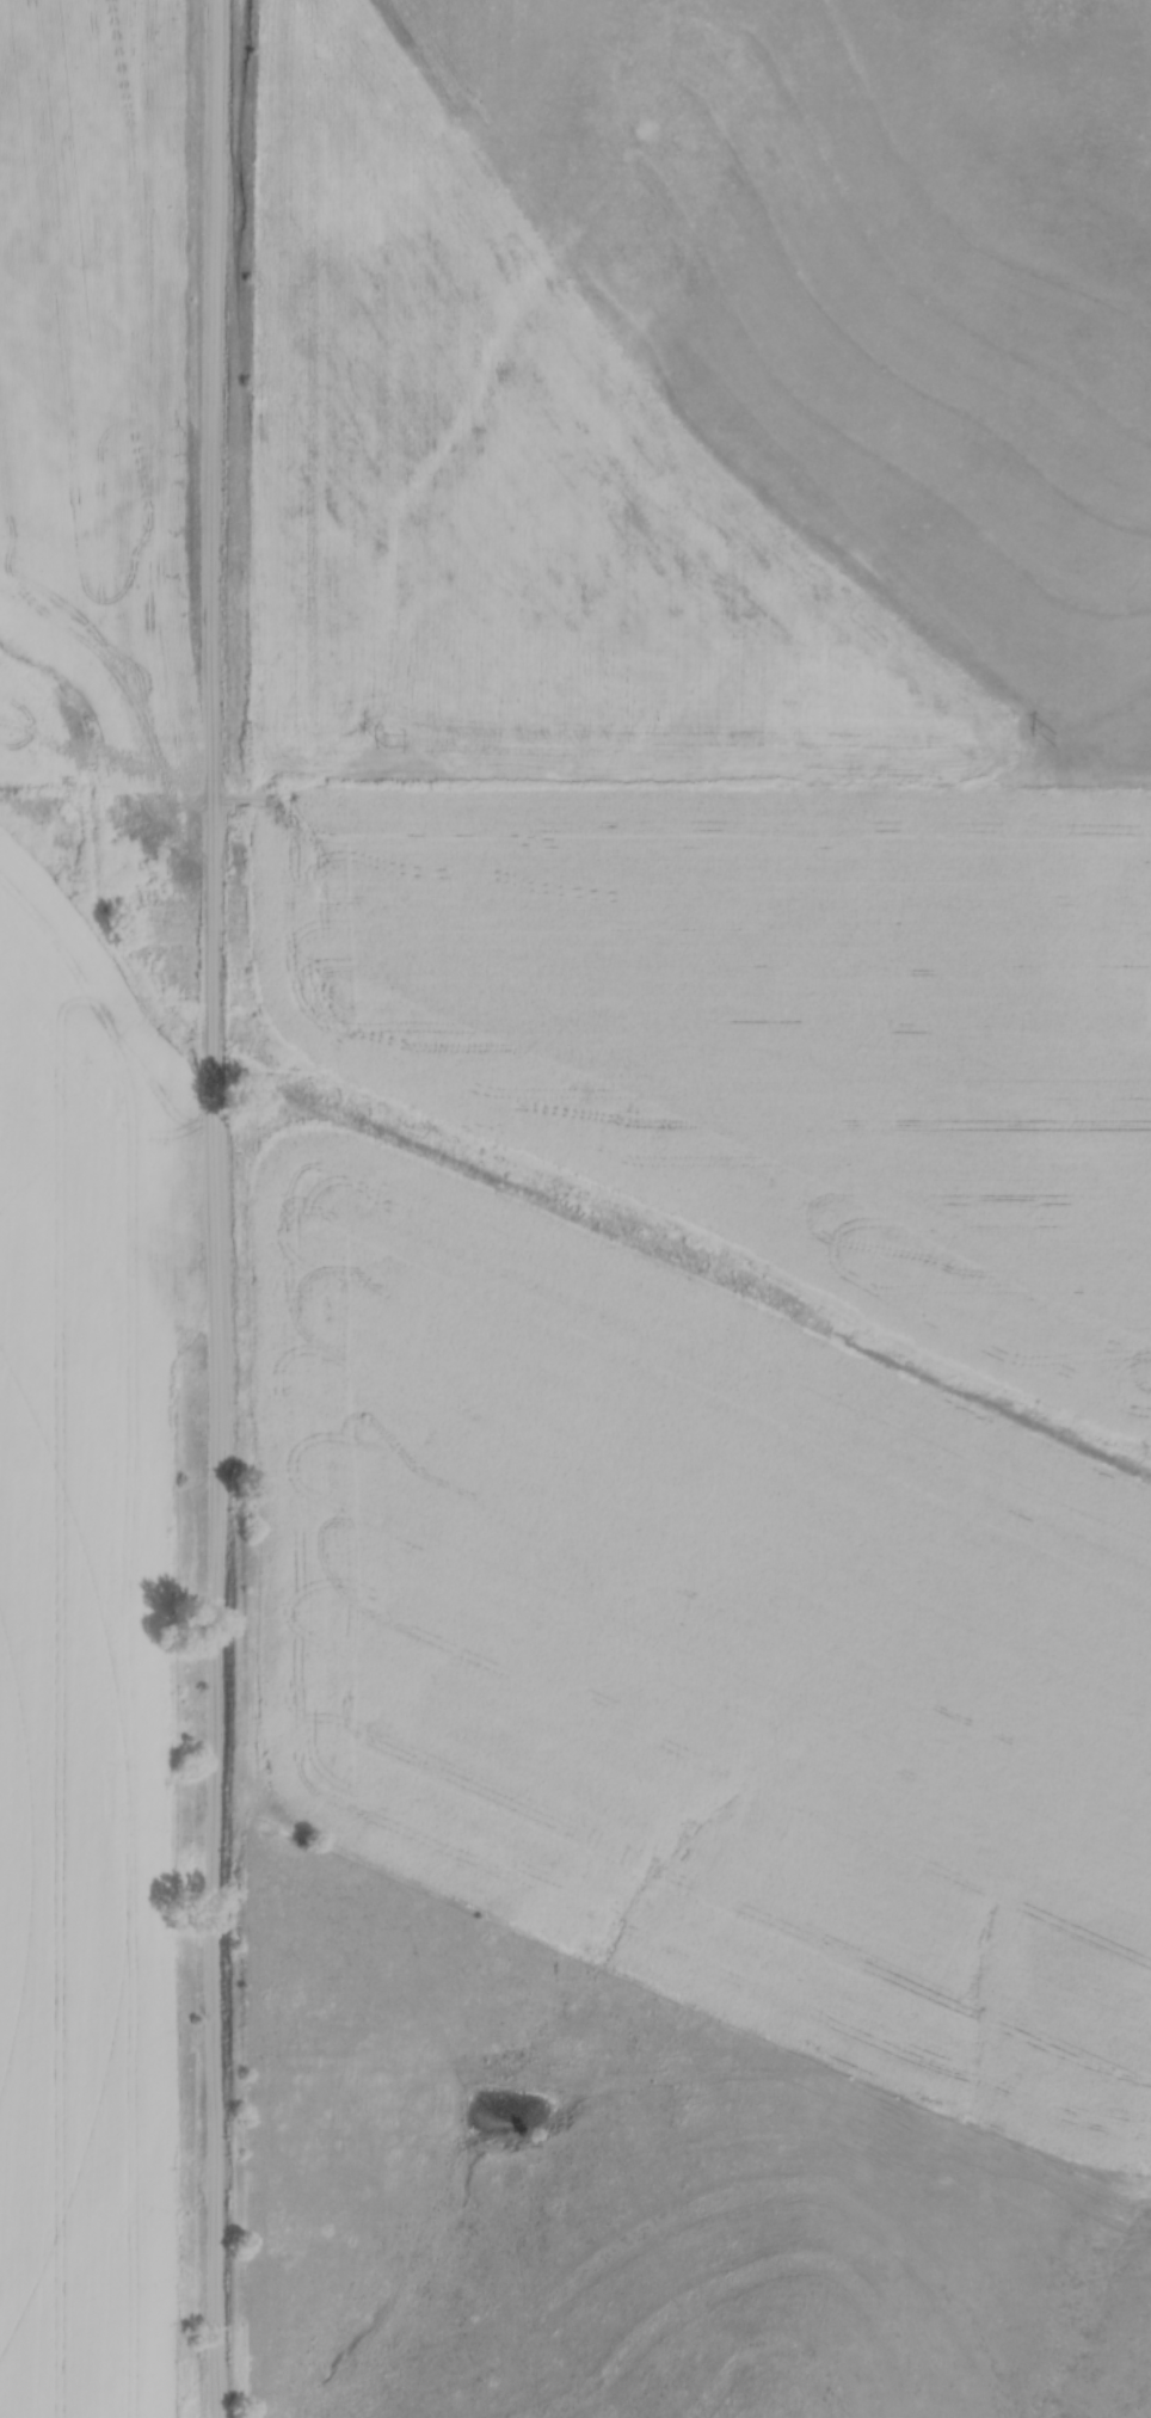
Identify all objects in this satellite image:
power tower: (382, 734)
power tower: (1057, 737)
road: (211, 1208)

